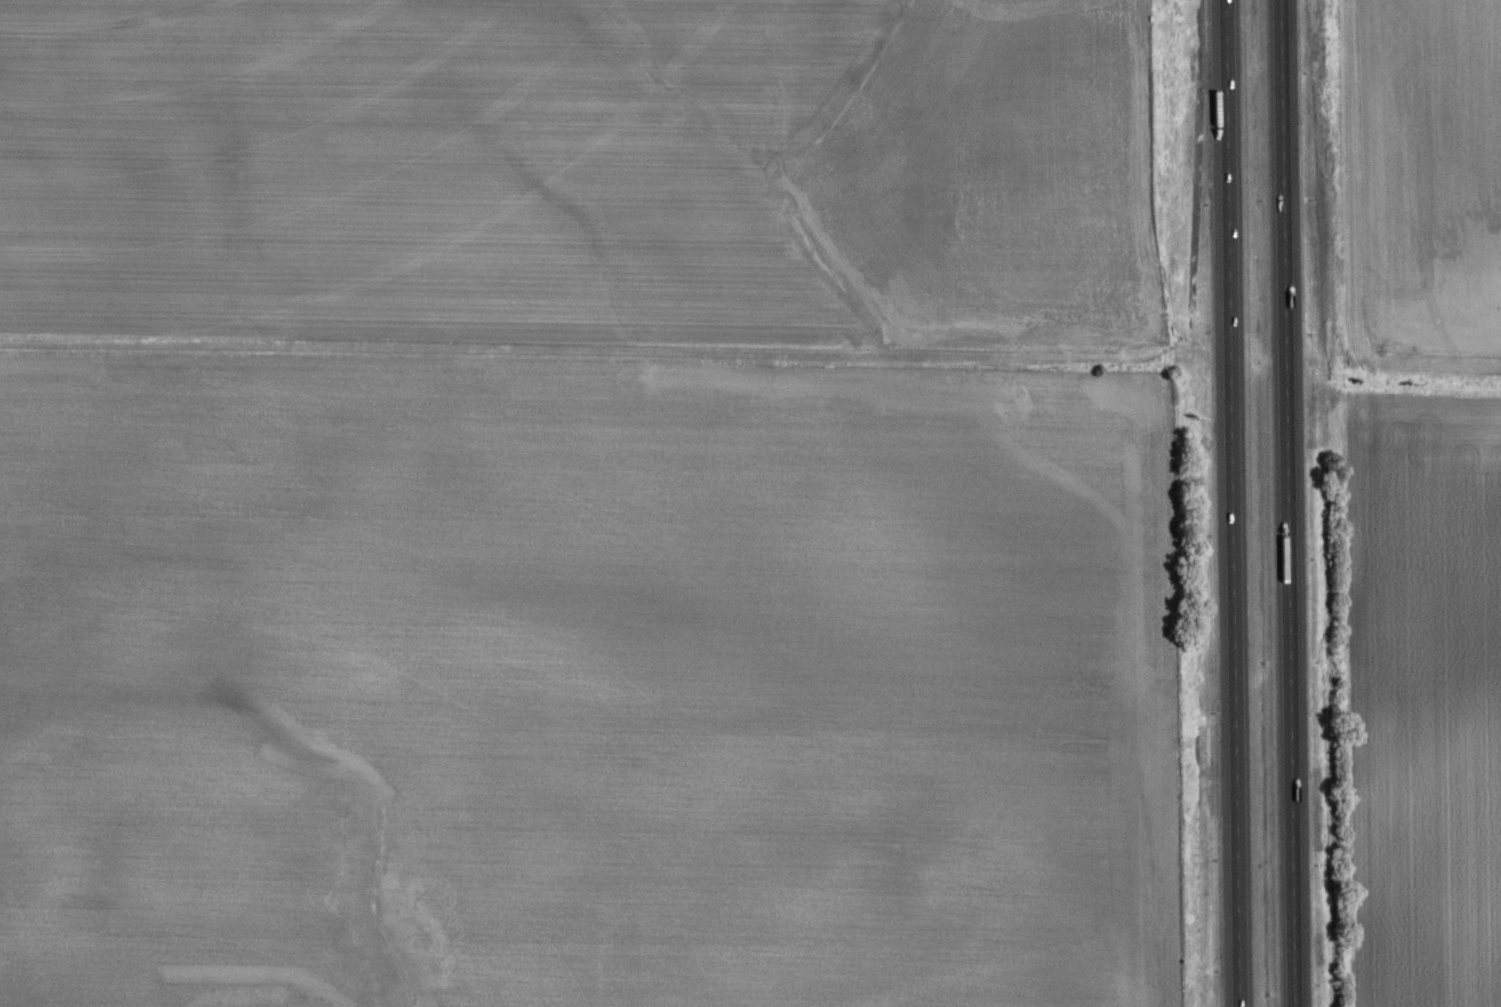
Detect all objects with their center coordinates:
road: (1230, 503)
road: (1286, 503)

